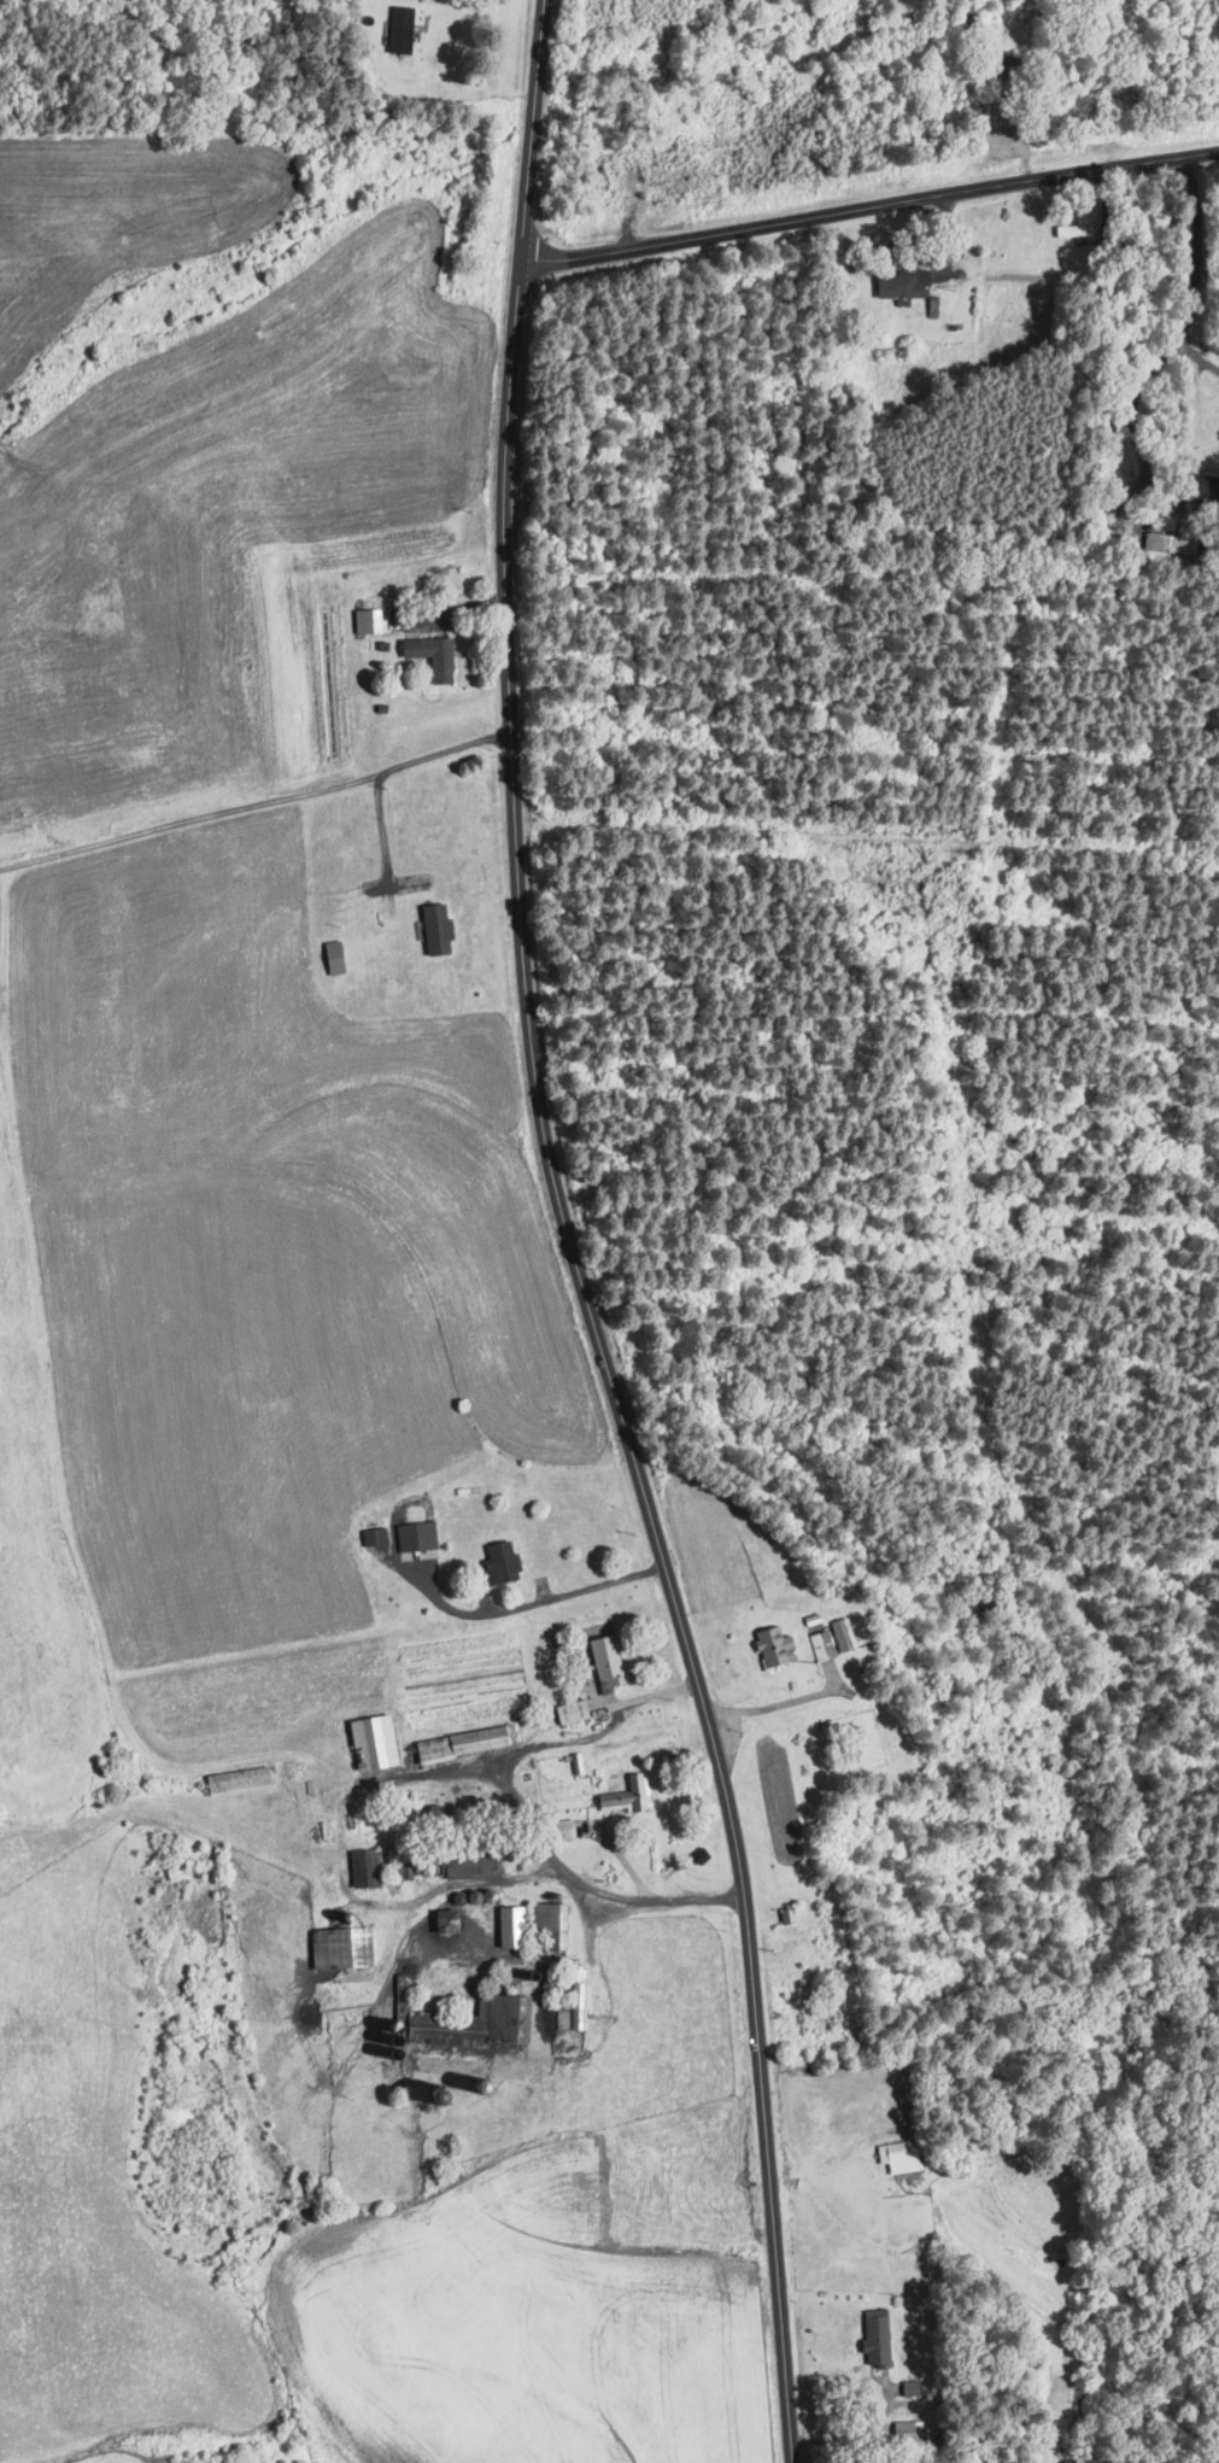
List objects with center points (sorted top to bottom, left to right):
building: (398, 29)
road: (950, 188)
building: (1069, 229)
road: (1197, 247)
road: (602, 253)
building: (899, 283)
road: (1200, 358)
road: (1137, 438)
building: (1155, 540)
road: (449, 609)
building: (428, 655)
road: (514, 796)
road: (256, 805)
road: (381, 827)
building: (433, 929)
building: (333, 956)
building: (371, 1534)
building: (414, 1534)
building: (497, 1562)
road: (585, 1587)
building: (843, 1633)
building: (768, 1645)
building: (821, 1645)
building: (602, 1661)
road: (772, 1706)
building: (569, 1710)
building: (369, 1741)
building: (458, 1743)
road: (567, 1743)
building: (235, 1780)
building: (625, 1795)
road: (531, 1814)
building: (559, 1829)
building: (361, 1866)
building: (459, 1866)
road: (623, 1895)
building: (439, 1919)
building: (545, 1923)
building: (505, 1926)
building: (336, 1947)
building: (573, 2001)
road: (754, 2014)
building: (452, 2026)
building: (897, 2155)
building: (873, 2341)
building: (909, 2387)
building: (903, 2429)
road: (849, 2432)

